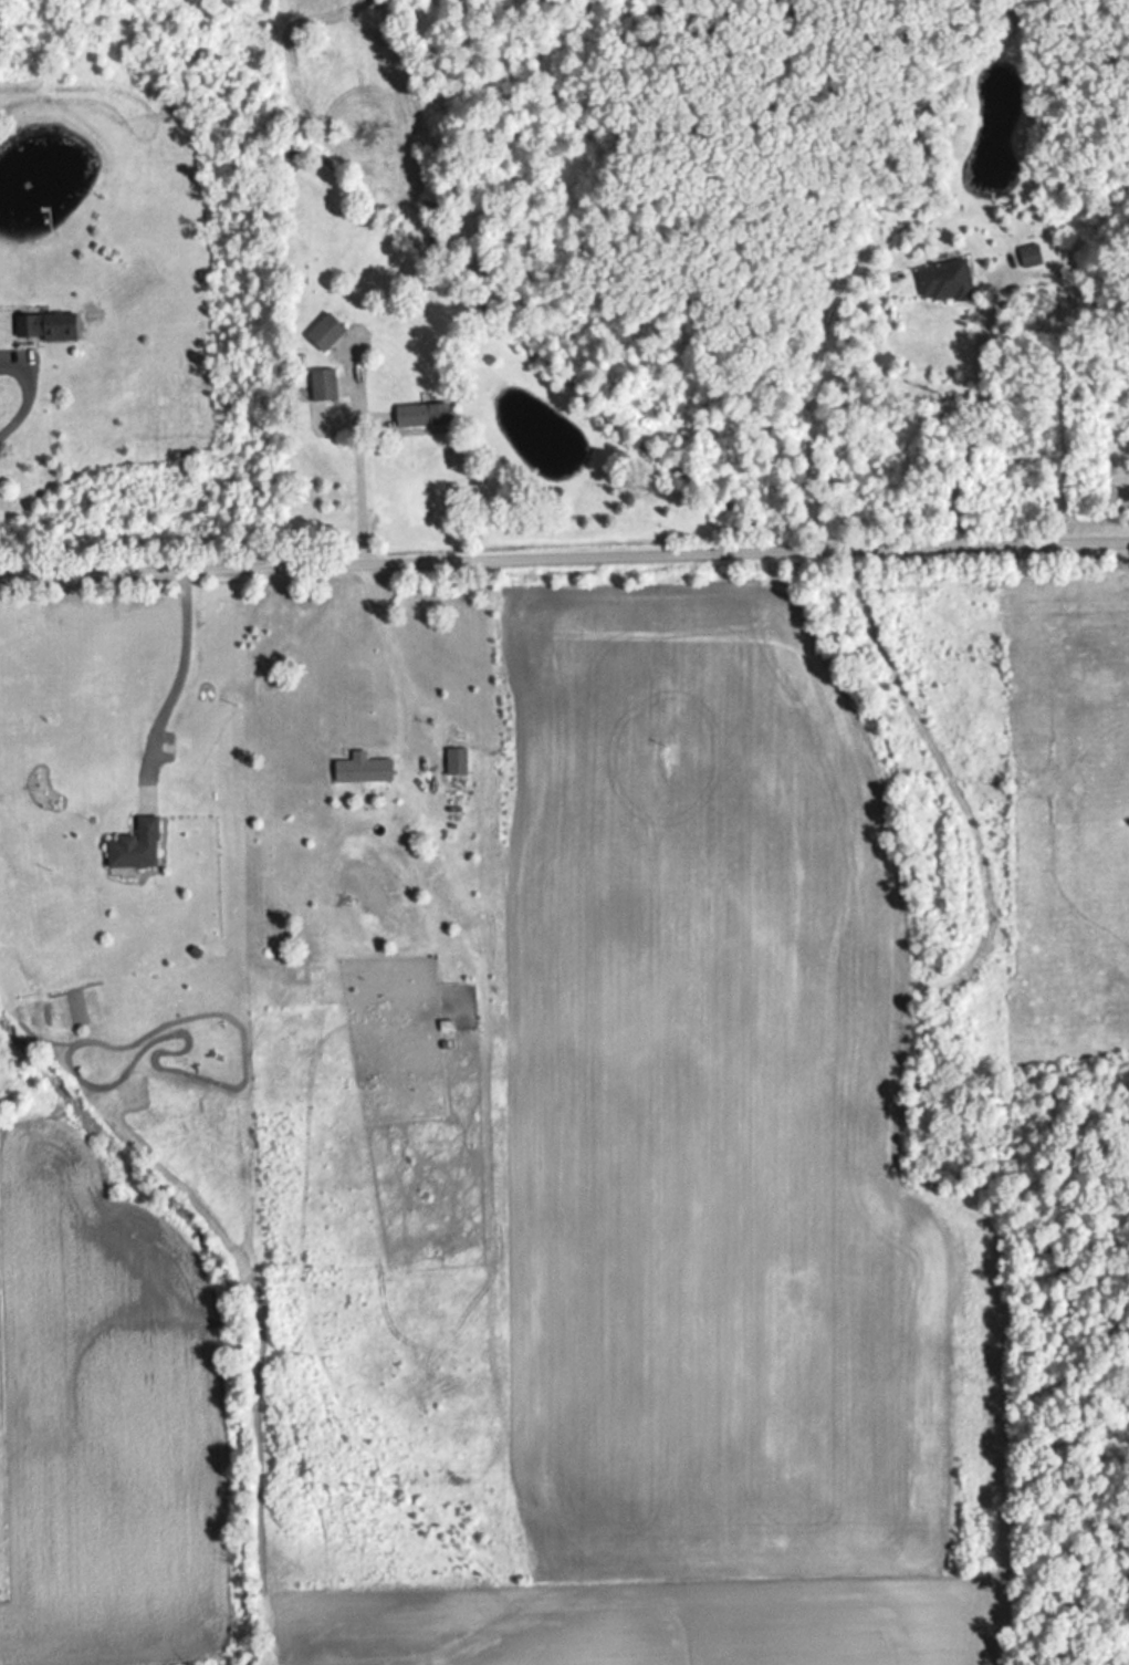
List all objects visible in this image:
building: (1033, 257)
building: (949, 281)
building: (50, 327)
building: (331, 333)
road: (18, 386)
building: (327, 387)
road: (979, 408)
building: (426, 417)
road: (354, 456)
road: (564, 556)
road: (387, 662)
road: (163, 684)
building: (459, 763)
building: (366, 771)
road: (628, 785)
building: (139, 847)

